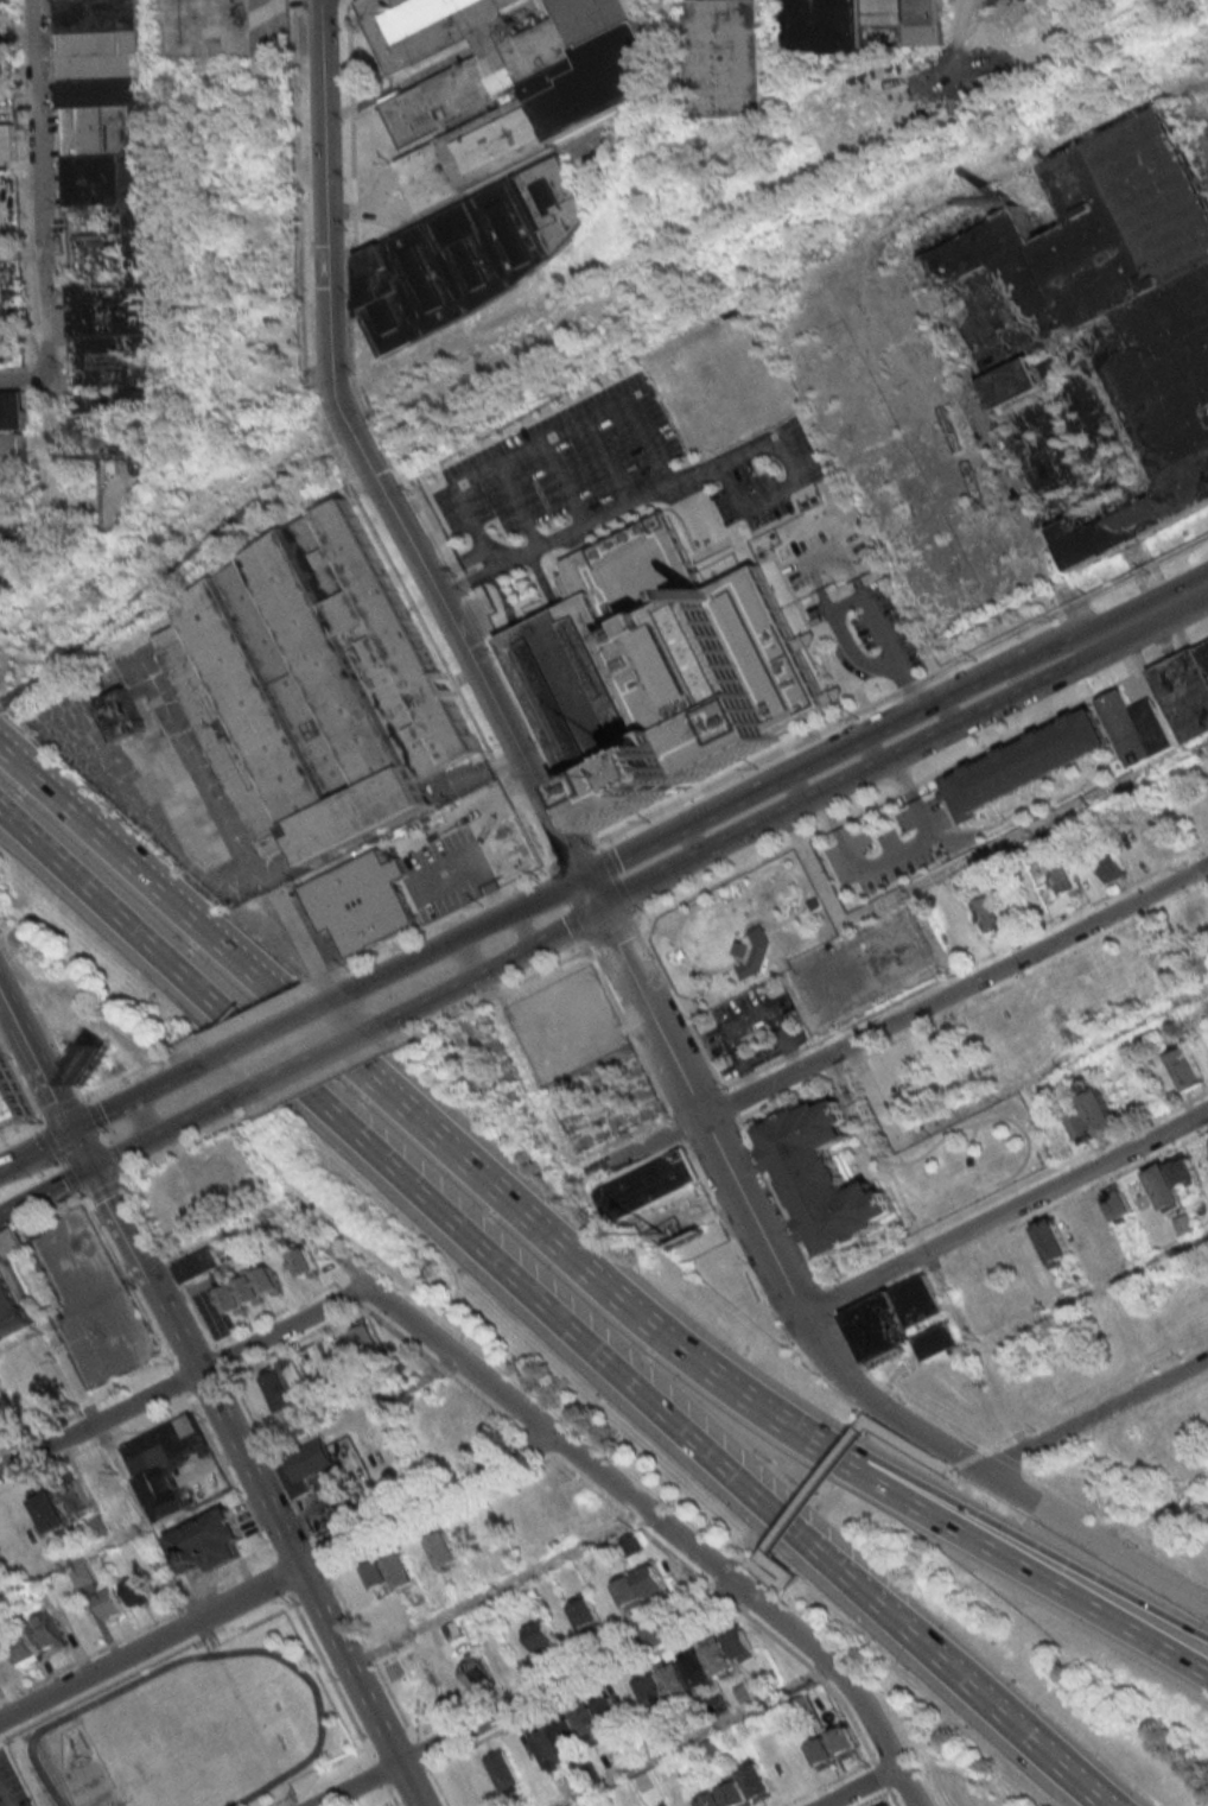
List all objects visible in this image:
building: (866, 24)
building: (729, 56)
building: (509, 80)
road: (38, 194)
building: (112, 198)
building: (472, 254)
building: (1099, 332)
road: (13, 381)
road: (638, 408)
building: (12, 411)
building: (12, 451)
road: (50, 451)
road: (789, 461)
road: (489, 559)
road: (459, 568)
road: (841, 633)
building: (656, 672)
building: (1185, 682)
building: (319, 687)
road: (897, 693)
building: (128, 715)
building: (1126, 727)
building: (1153, 727)
road: (509, 731)
road: (898, 736)
building: (1024, 762)
road: (246, 839)
building: (1157, 842)
parking lot: (888, 845)
road: (573, 856)
road: (962, 866)
building: (1112, 870)
building: (1066, 882)
building: (364, 900)
building: (991, 918)
road: (437, 925)
road: (523, 930)
park: (742, 931)
road: (457, 940)
building: (758, 952)
road: (466, 957)
road: (483, 969)
building: (576, 999)
road: (973, 1000)
road: (349, 1015)
road: (243, 1022)
road: (896, 1025)
road: (265, 1038)
road: (57, 1041)
road: (37, 1059)
road: (294, 1065)
building: (1185, 1070)
road: (21, 1073)
road: (533, 1076)
road: (128, 1077)
road: (1005, 1090)
building: (12, 1094)
road: (138, 1101)
road: (731, 1102)
road: (64, 1107)
building: (1099, 1113)
road: (152, 1117)
road: (414, 1120)
building: (1077, 1126)
road: (21, 1129)
traffic signals: (76, 1134)
road: (109, 1135)
road: (161, 1135)
building: (1056, 1138)
road: (84, 1152)
road: (38, 1153)
road: (65, 1158)
traffic signals: (94, 1171)
building: (1184, 1172)
building: (829, 1178)
building: (650, 1186)
road: (1017, 1186)
road: (109, 1189)
road: (407, 1189)
building: (1165, 1189)
road: (46, 1196)
road: (781, 1199)
building: (1118, 1204)
road: (1005, 1211)
road: (1025, 1221)
road: (120, 1222)
building: (1185, 1225)
road: (216, 1240)
building: (1054, 1243)
road: (328, 1244)
building: (227, 1248)
building: (310, 1263)
building: (201, 1265)
building: (985, 1268)
building: (273, 1280)
road: (132, 1284)
building: (12, 1285)
road: (339, 1287)
building: (255, 1289)
road: (1101, 1289)
road: (352, 1297)
road: (832, 1297)
building: (237, 1299)
parking lot: (93, 1305)
road: (274, 1316)
building: (894, 1317)
building: (367, 1336)
road: (23, 1337)
building: (939, 1341)
building: (295, 1376)
road: (184, 1377)
road: (182, 1380)
road: (1121, 1382)
building: (279, 1393)
road: (902, 1393)
road: (483, 1399)
building: (5, 1412)
road: (1095, 1413)
road: (357, 1414)
road: (1115, 1422)
road: (553, 1426)
road: (926, 1433)
road: (1009, 1438)
building: (163, 1445)
road: (914, 1446)
road: (1009, 1458)
road: (969, 1460)
building: (304, 1468)
road: (954, 1470)
road: (122, 1472)
road: (231, 1477)
building: (102, 1479)
road: (822, 1490)
building: (160, 1495)
road: (1067, 1496)
building: (76, 1497)
building: (49, 1513)
road: (625, 1513)
road: (1151, 1513)
building: (113, 1519)
building: (100, 1527)
road: (1119, 1531)
building: (6, 1535)
road: (1086, 1535)
building: (72, 1539)
road: (282, 1540)
building: (205, 1542)
road: (1032, 1544)
building: (446, 1551)
road: (260, 1559)
road: (75, 1561)
road: (744, 1561)
road: (1168, 1561)
road: (737, 1570)
road: (783, 1570)
road: (1028, 1570)
building: (402, 1572)
road: (768, 1573)
building: (80, 1574)
road: (281, 1576)
building: (379, 1576)
road: (282, 1578)
road: (729, 1579)
building: (655, 1583)
road: (793, 1585)
road: (504, 1589)
building: (134, 1590)
building: (634, 1593)
road: (730, 1598)
building: (107, 1604)
building: (590, 1615)
building: (47, 1631)
building: (456, 1633)
building: (546, 1639)
building: (744, 1645)
building: (24, 1649)
building: (720, 1658)
road: (146, 1664)
road: (568, 1664)
building: (5, 1665)
building: (699, 1668)
road: (851, 1672)
building: (479, 1675)
road: (335, 1678)
building: (676, 1680)
road: (959, 1681)
road: (587, 1691)
building: (655, 1691)
building: (745, 1694)
road: (538, 1698)
building: (608, 1709)
road: (850, 1709)
building: (590, 1726)
road: (702, 1735)
building: (567, 1737)
building: (847, 1743)
road: (395, 1745)
building: (548, 1750)
building: (825, 1755)
building: (801, 1757)
building: (592, 1770)
road: (328, 1772)
building: (504, 1773)
road: (884, 1775)
road: (382, 1776)
road: (412, 1781)
building: (757, 1782)
road: (866, 1785)
building: (736, 1791)
road: (394, 1793)
road: (393, 1797)
road: (896, 1798)
building: (713, 1801)
road: (389, 1804)
building: (892, 1805)

